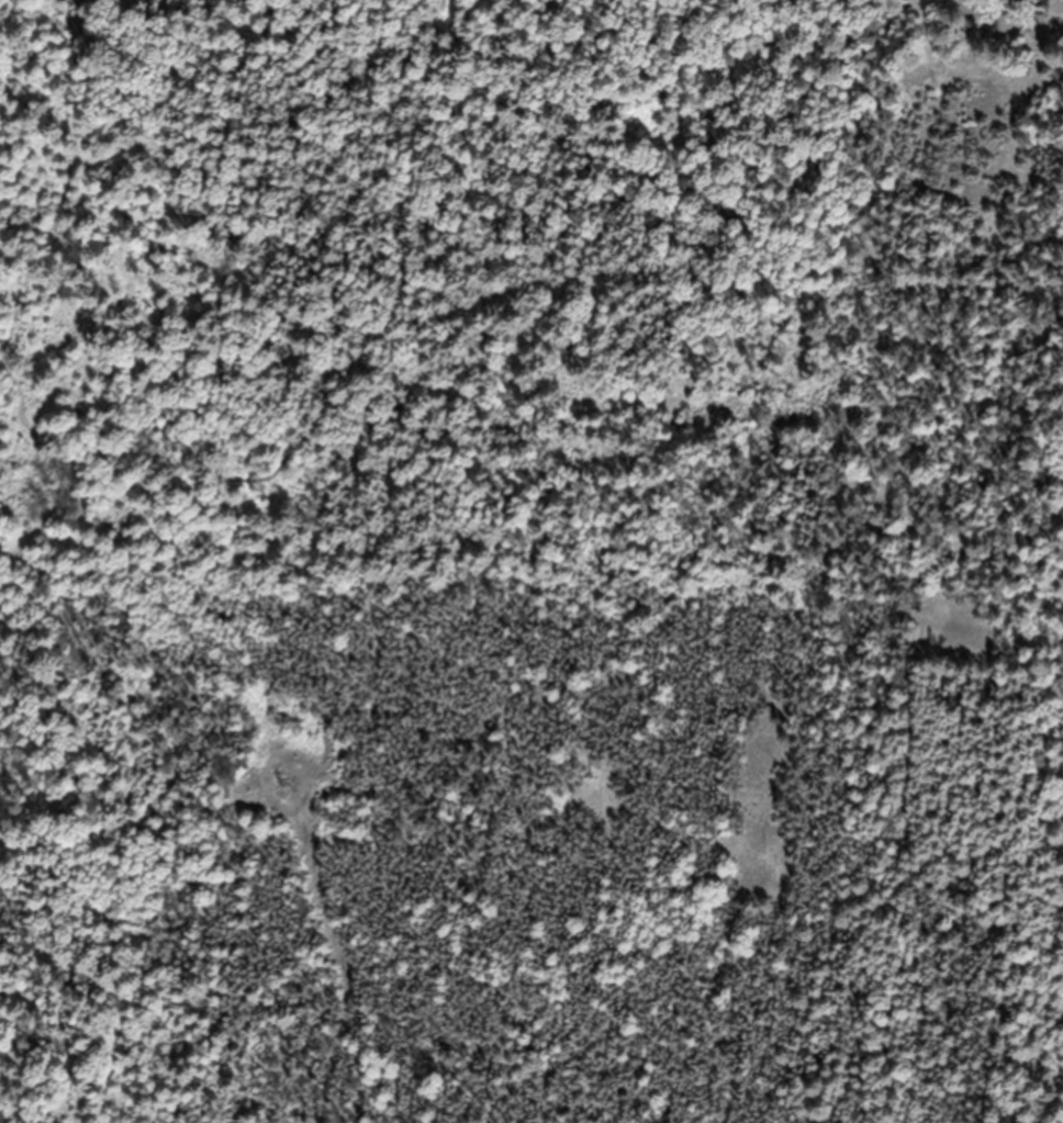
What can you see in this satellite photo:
building: (142, 0)

